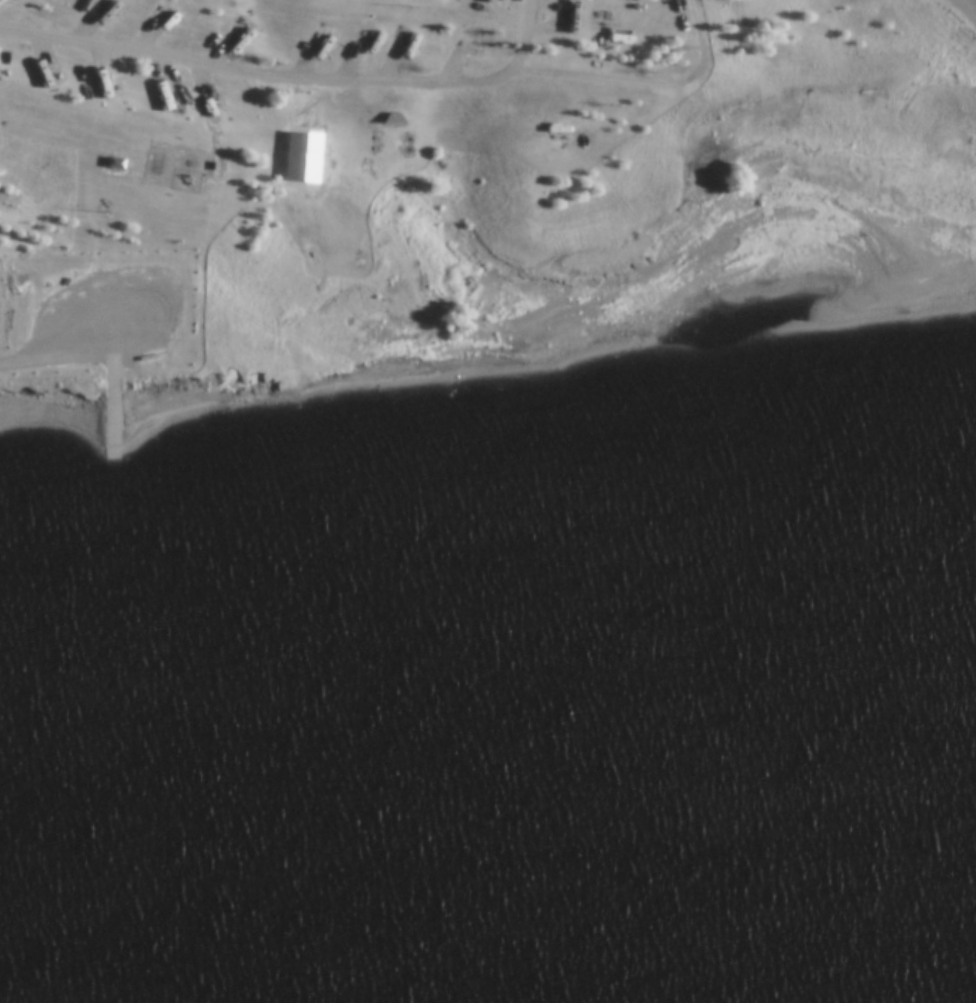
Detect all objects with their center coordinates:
building: (611, 7)
street lamp: (412, 15)
building: (242, 33)
building: (371, 45)
building: (470, 47)
building: (40, 70)
building: (107, 71)
road: (294, 82)
road: (646, 87)
building: (160, 96)
building: (202, 104)
building: (535, 126)
building: (111, 164)
building: (116, 170)
parking lot: (99, 313)
road: (56, 362)
road: (111, 418)

